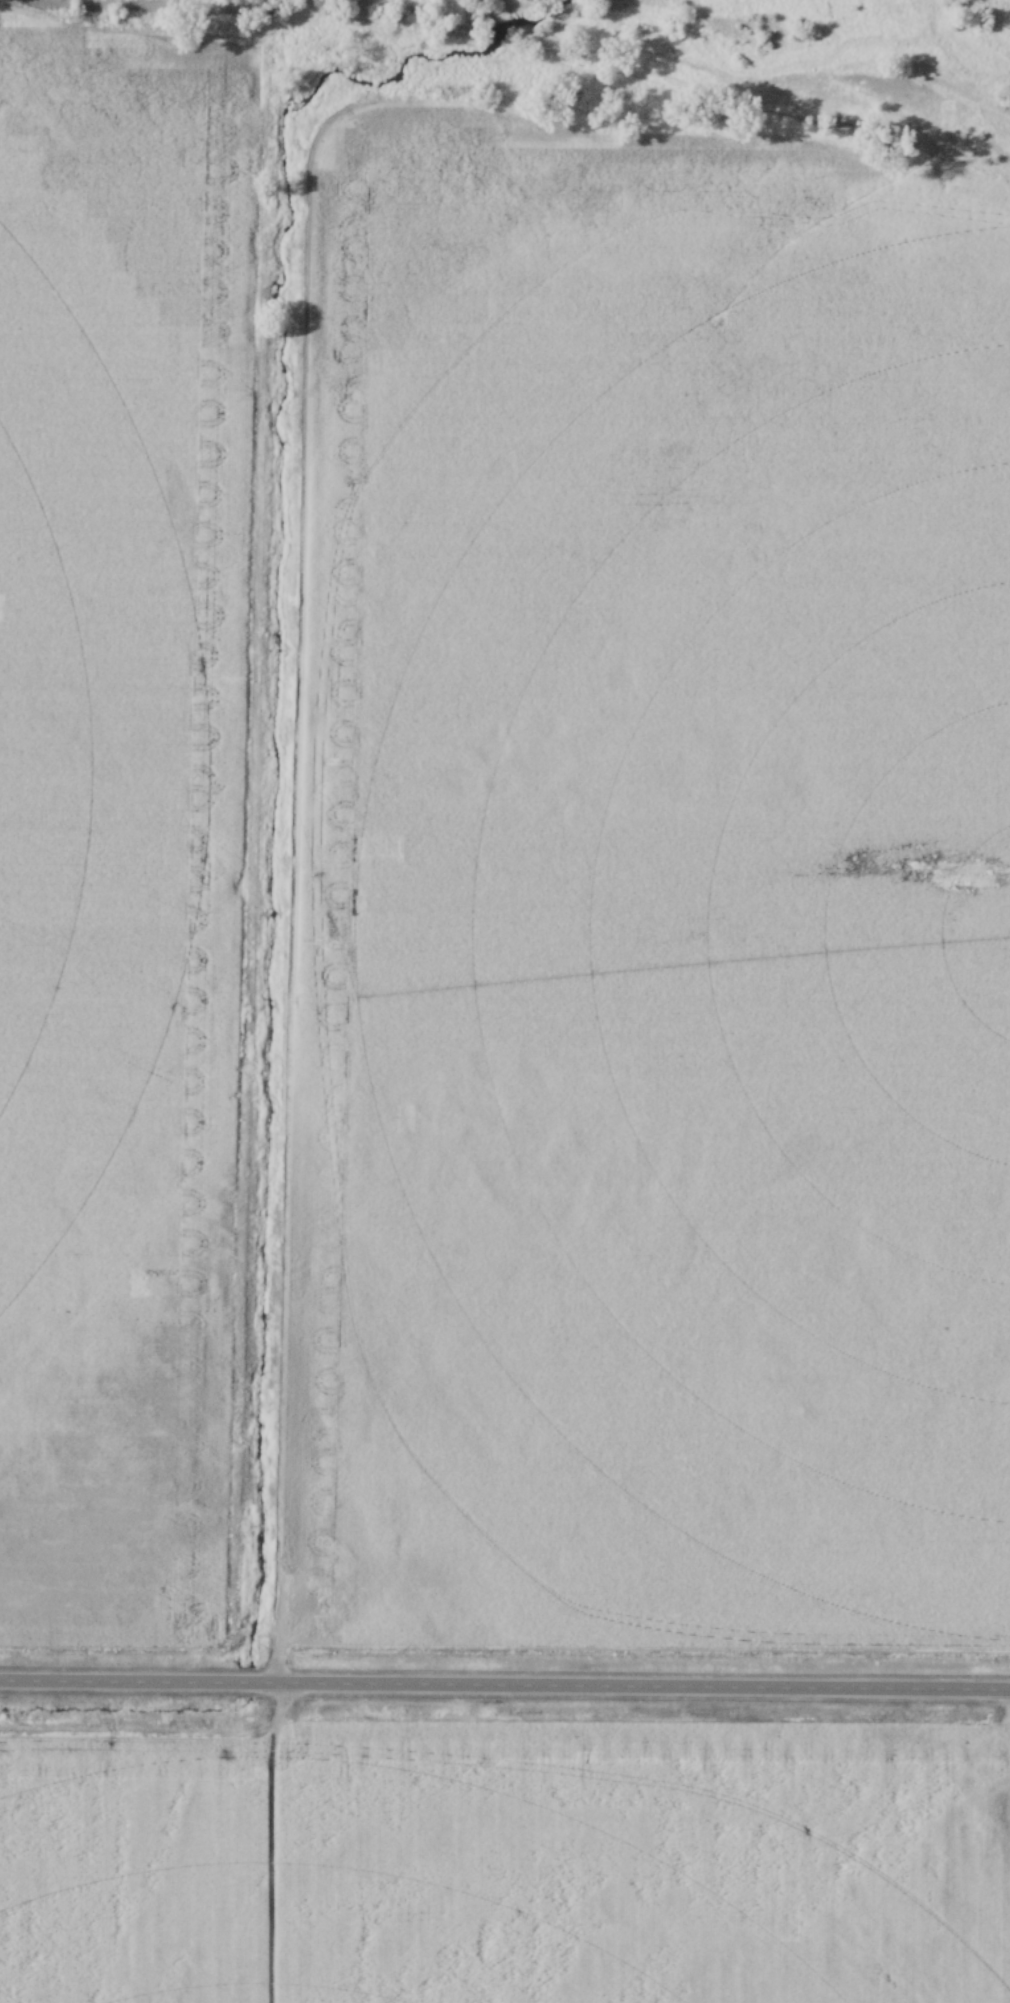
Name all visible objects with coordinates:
road: (505, 1686)

